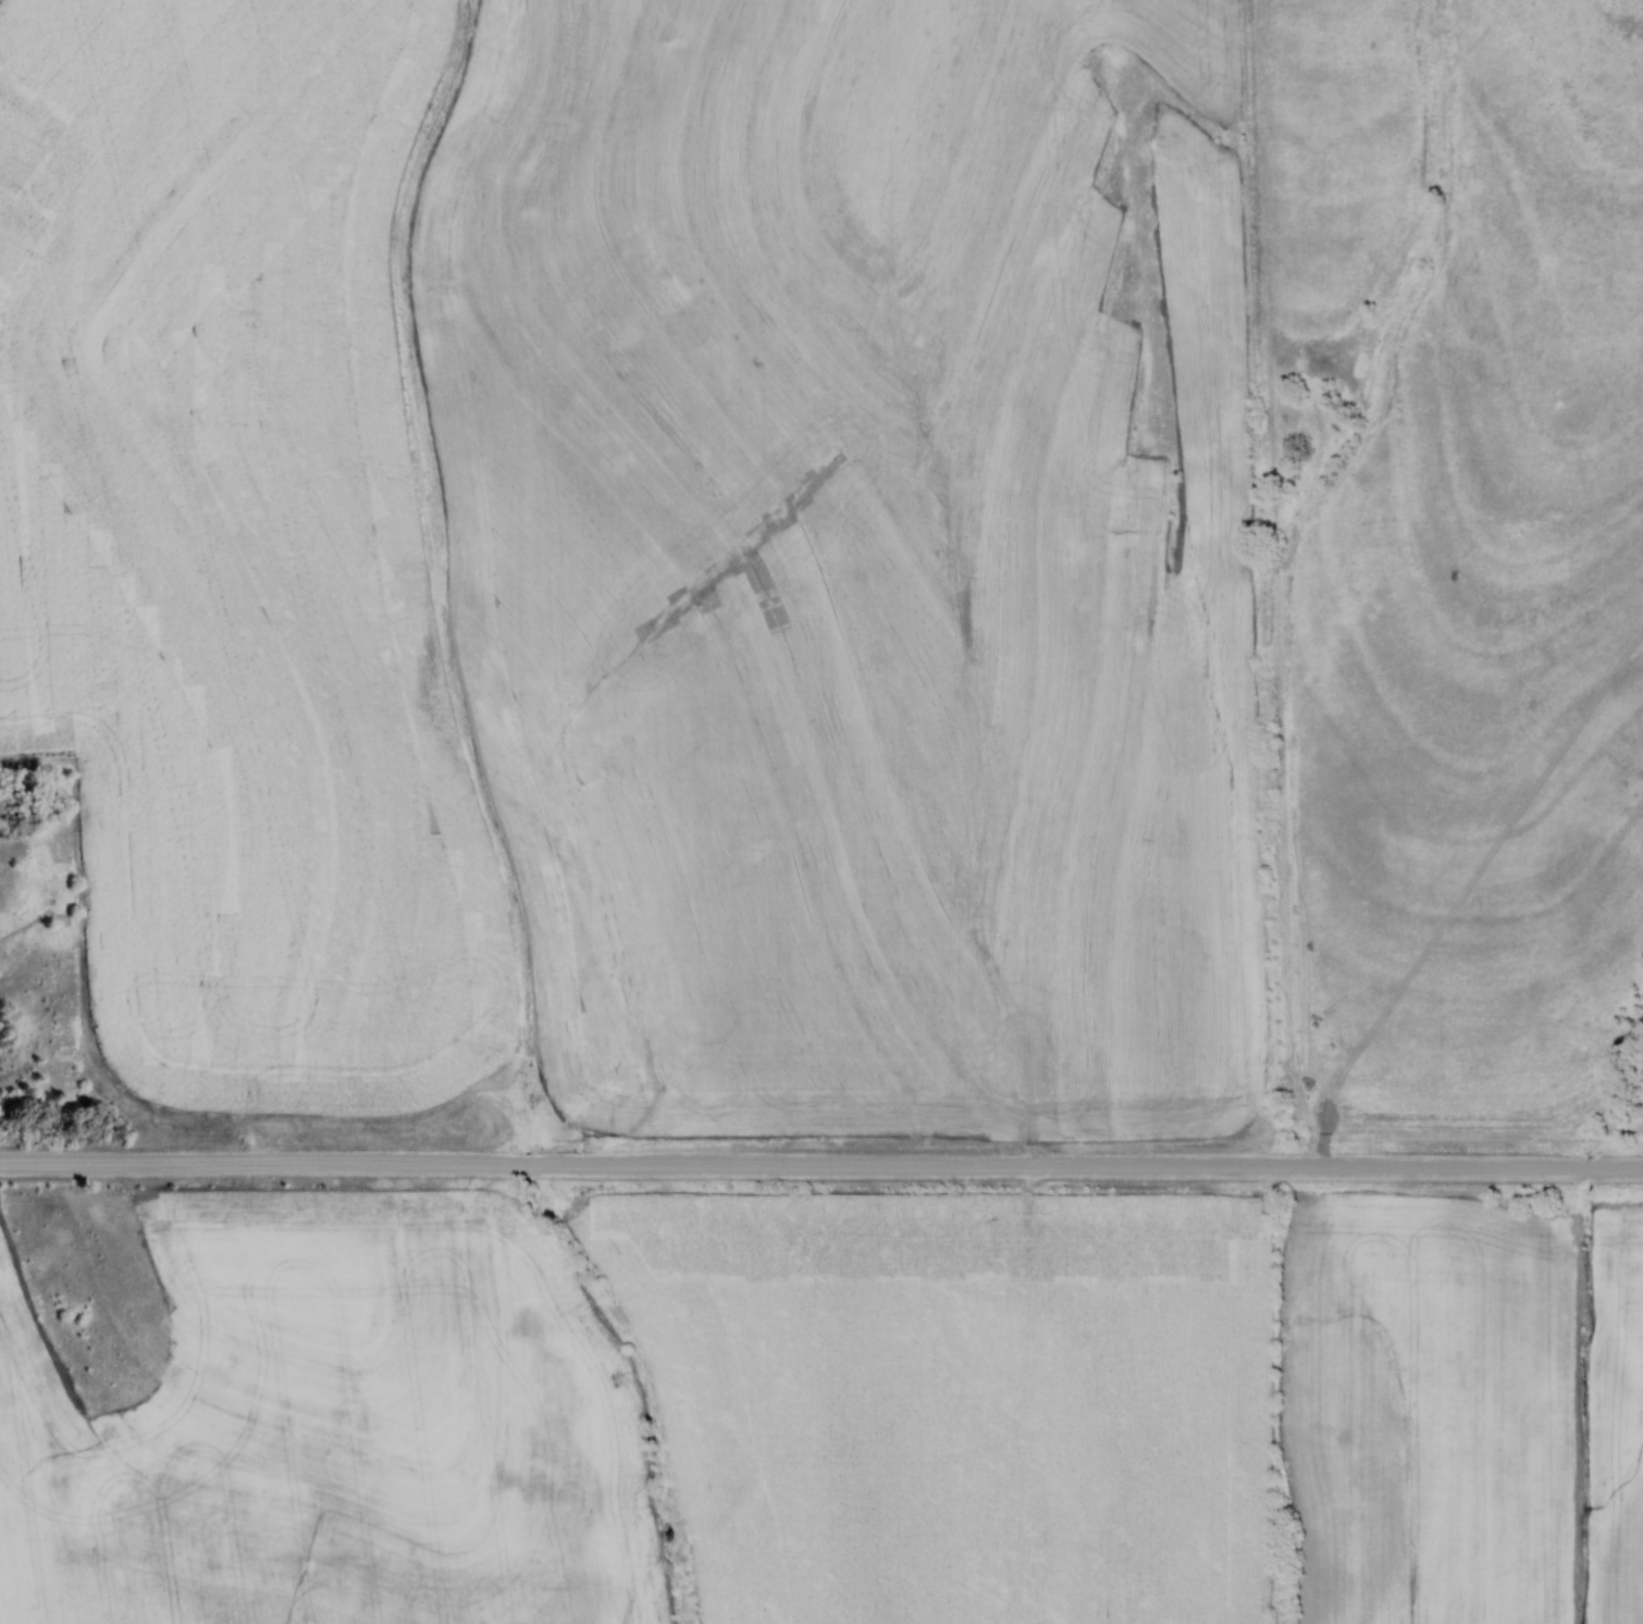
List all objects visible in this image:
road: (821, 1167)

